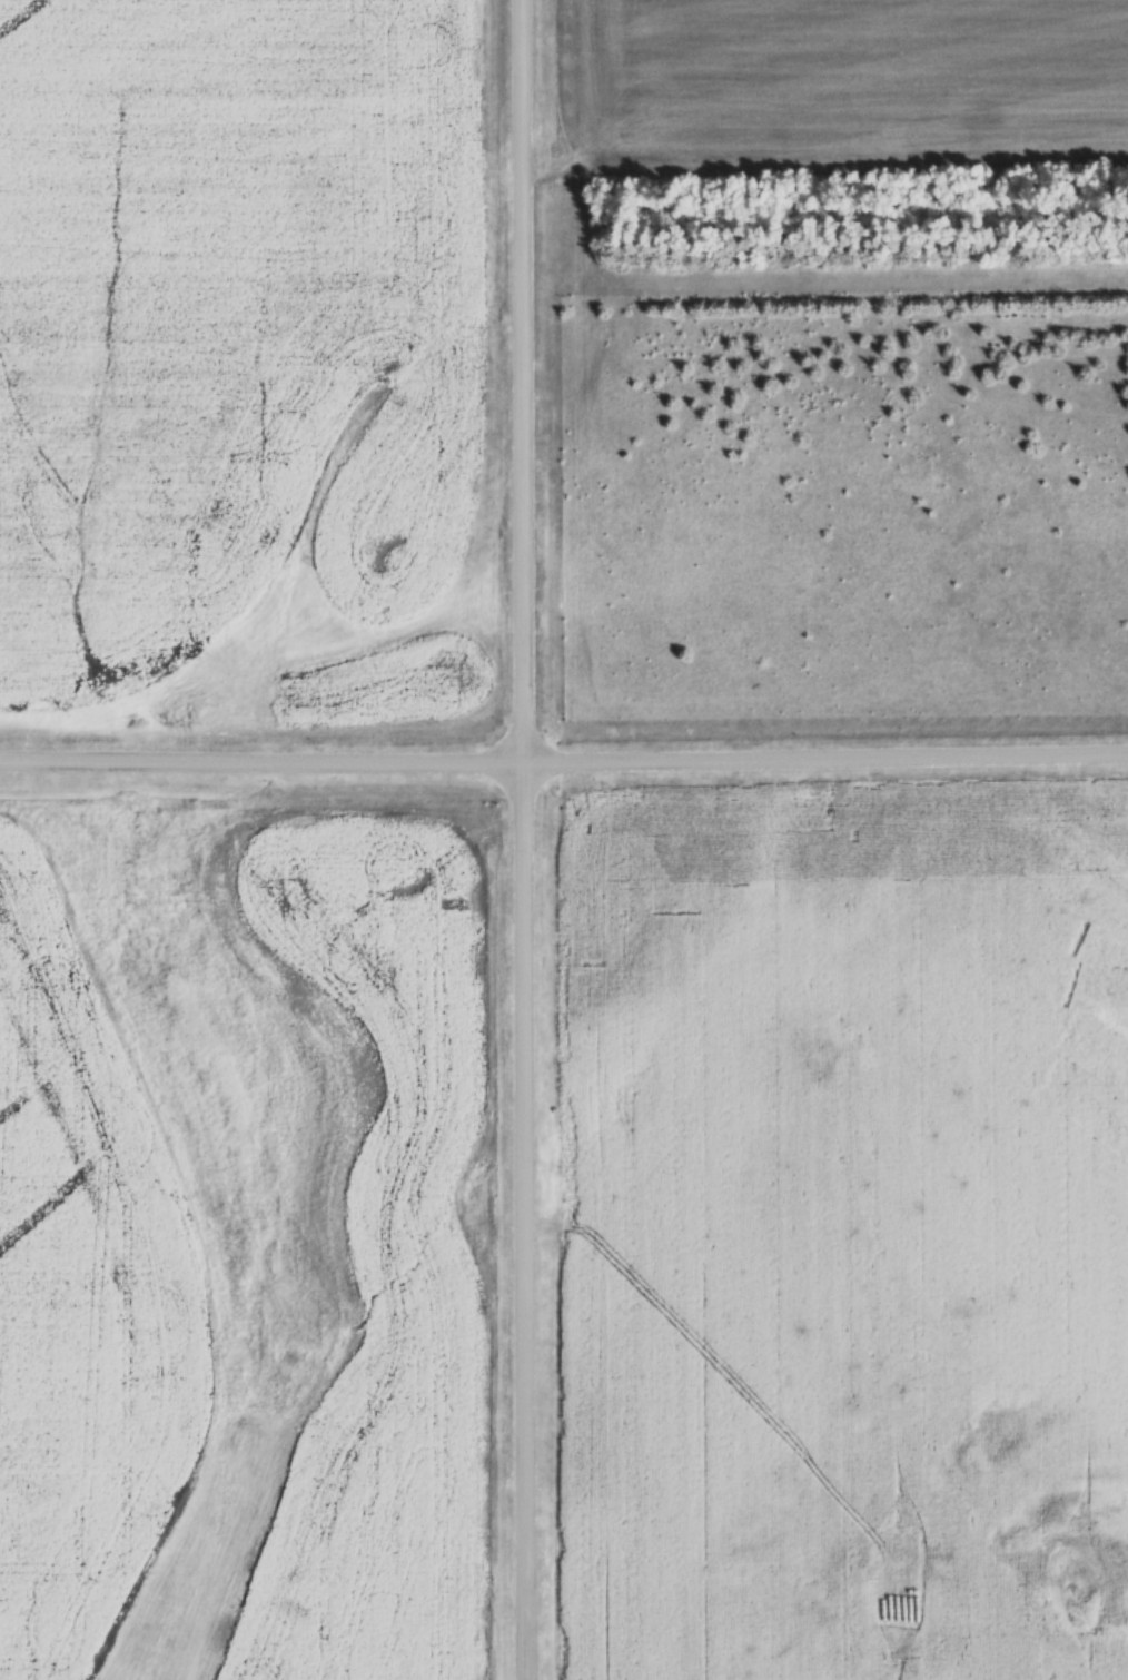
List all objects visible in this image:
road: (530, 382)
road: (564, 763)
road: (533, 1222)

